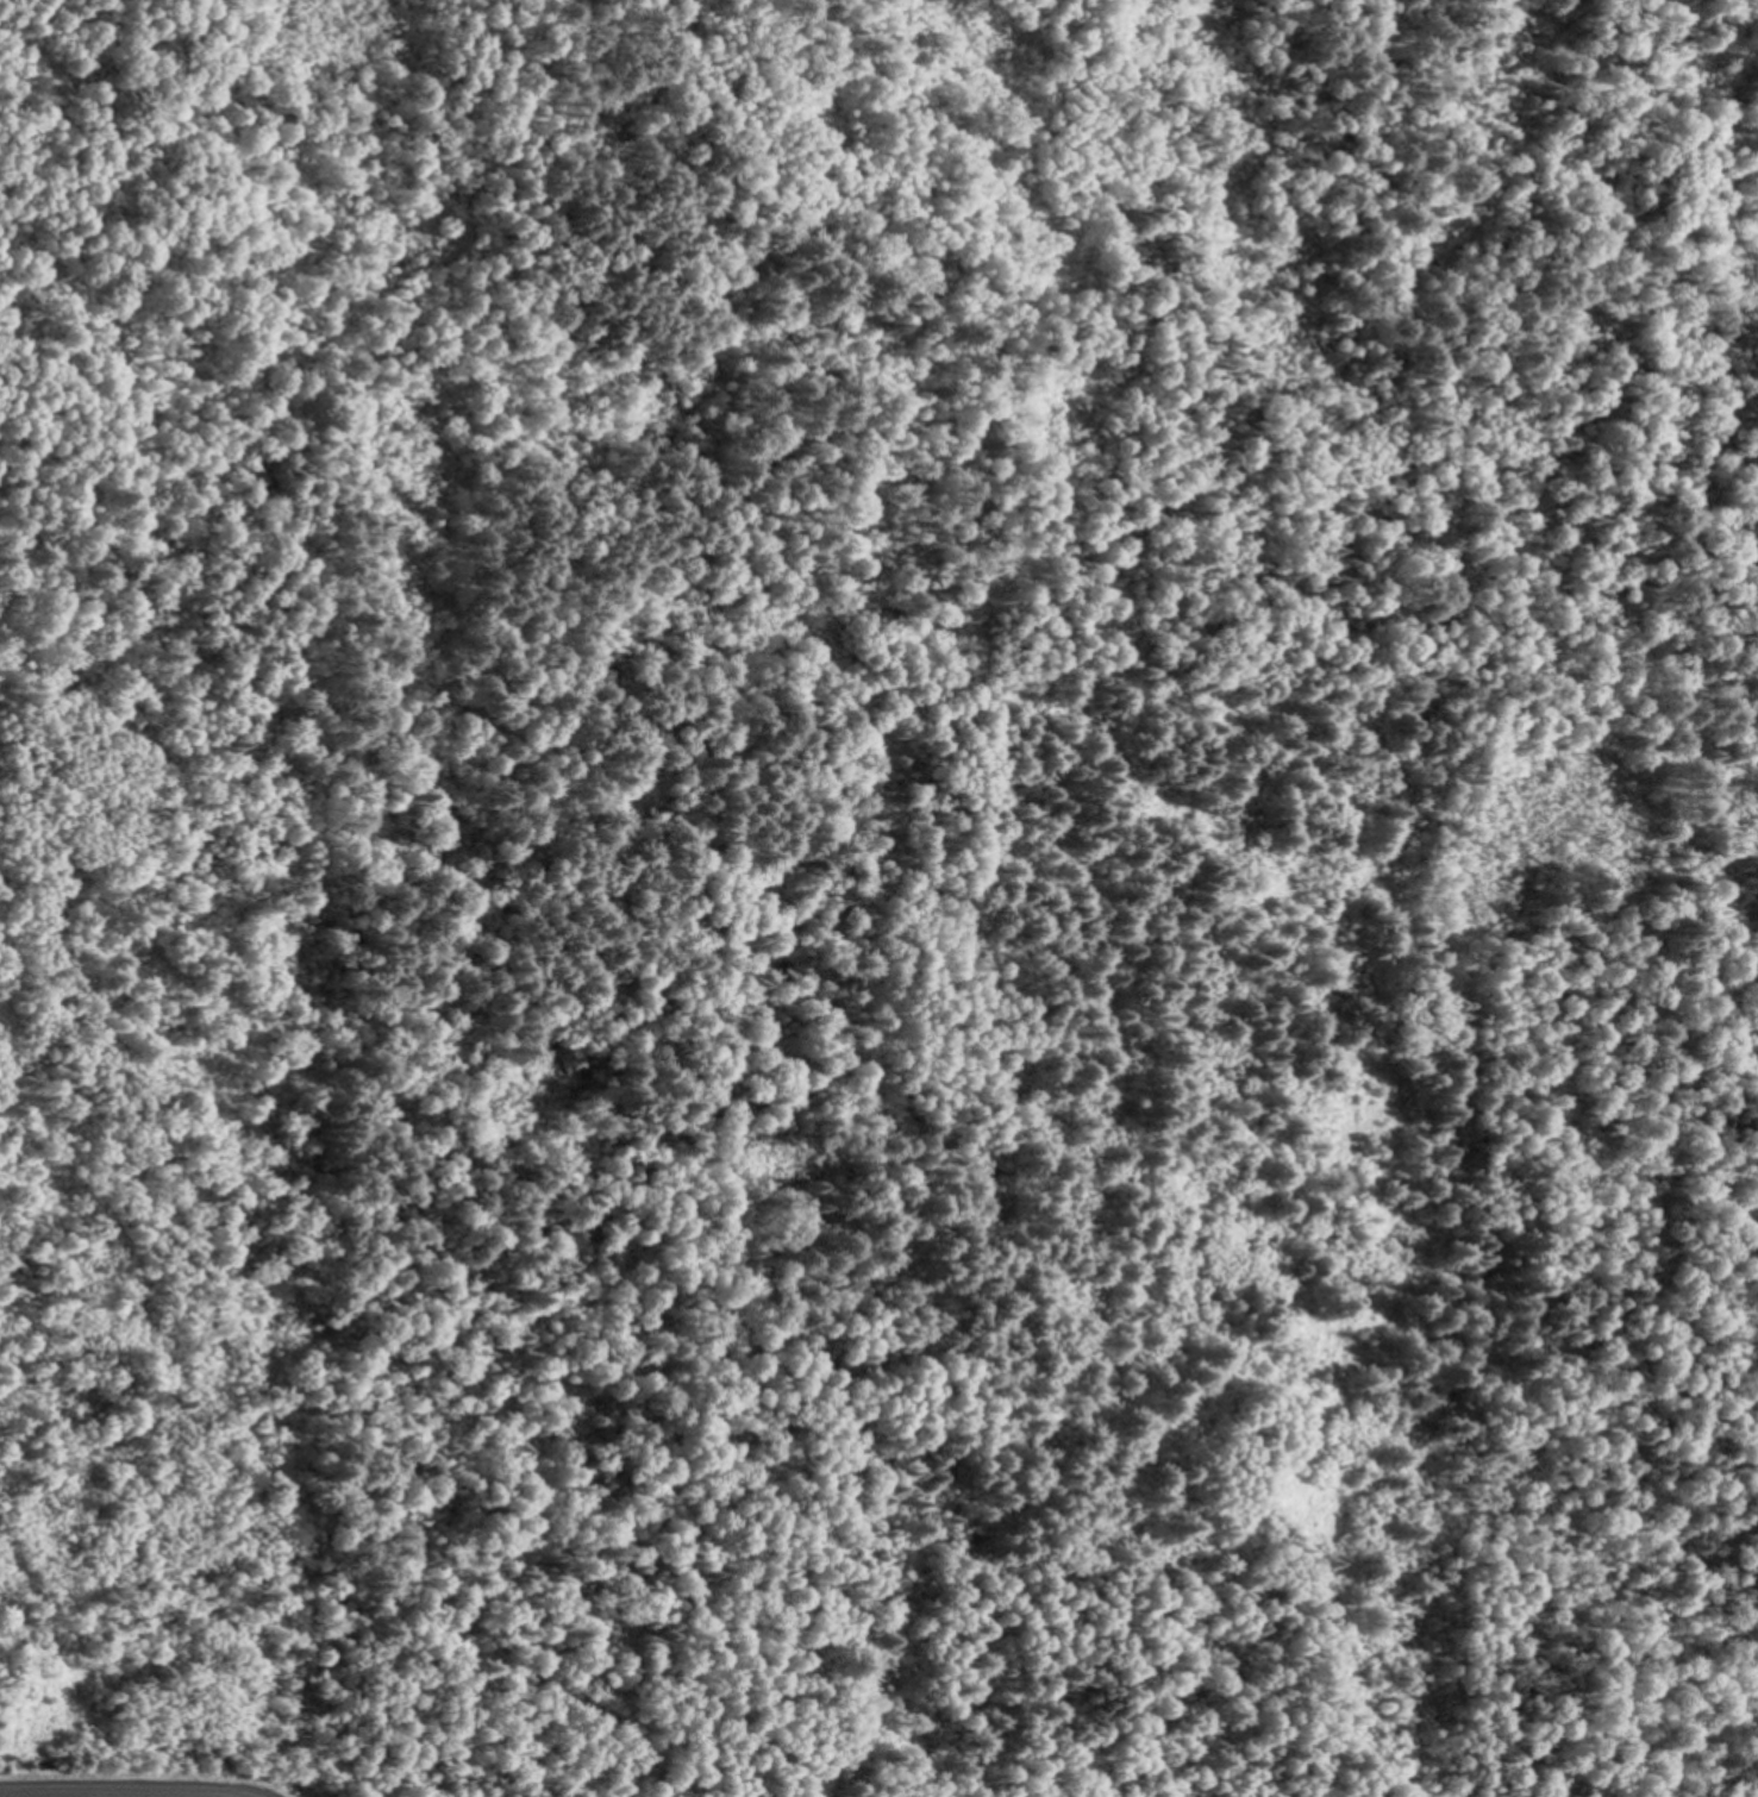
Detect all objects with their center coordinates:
road: (125, 1790)

